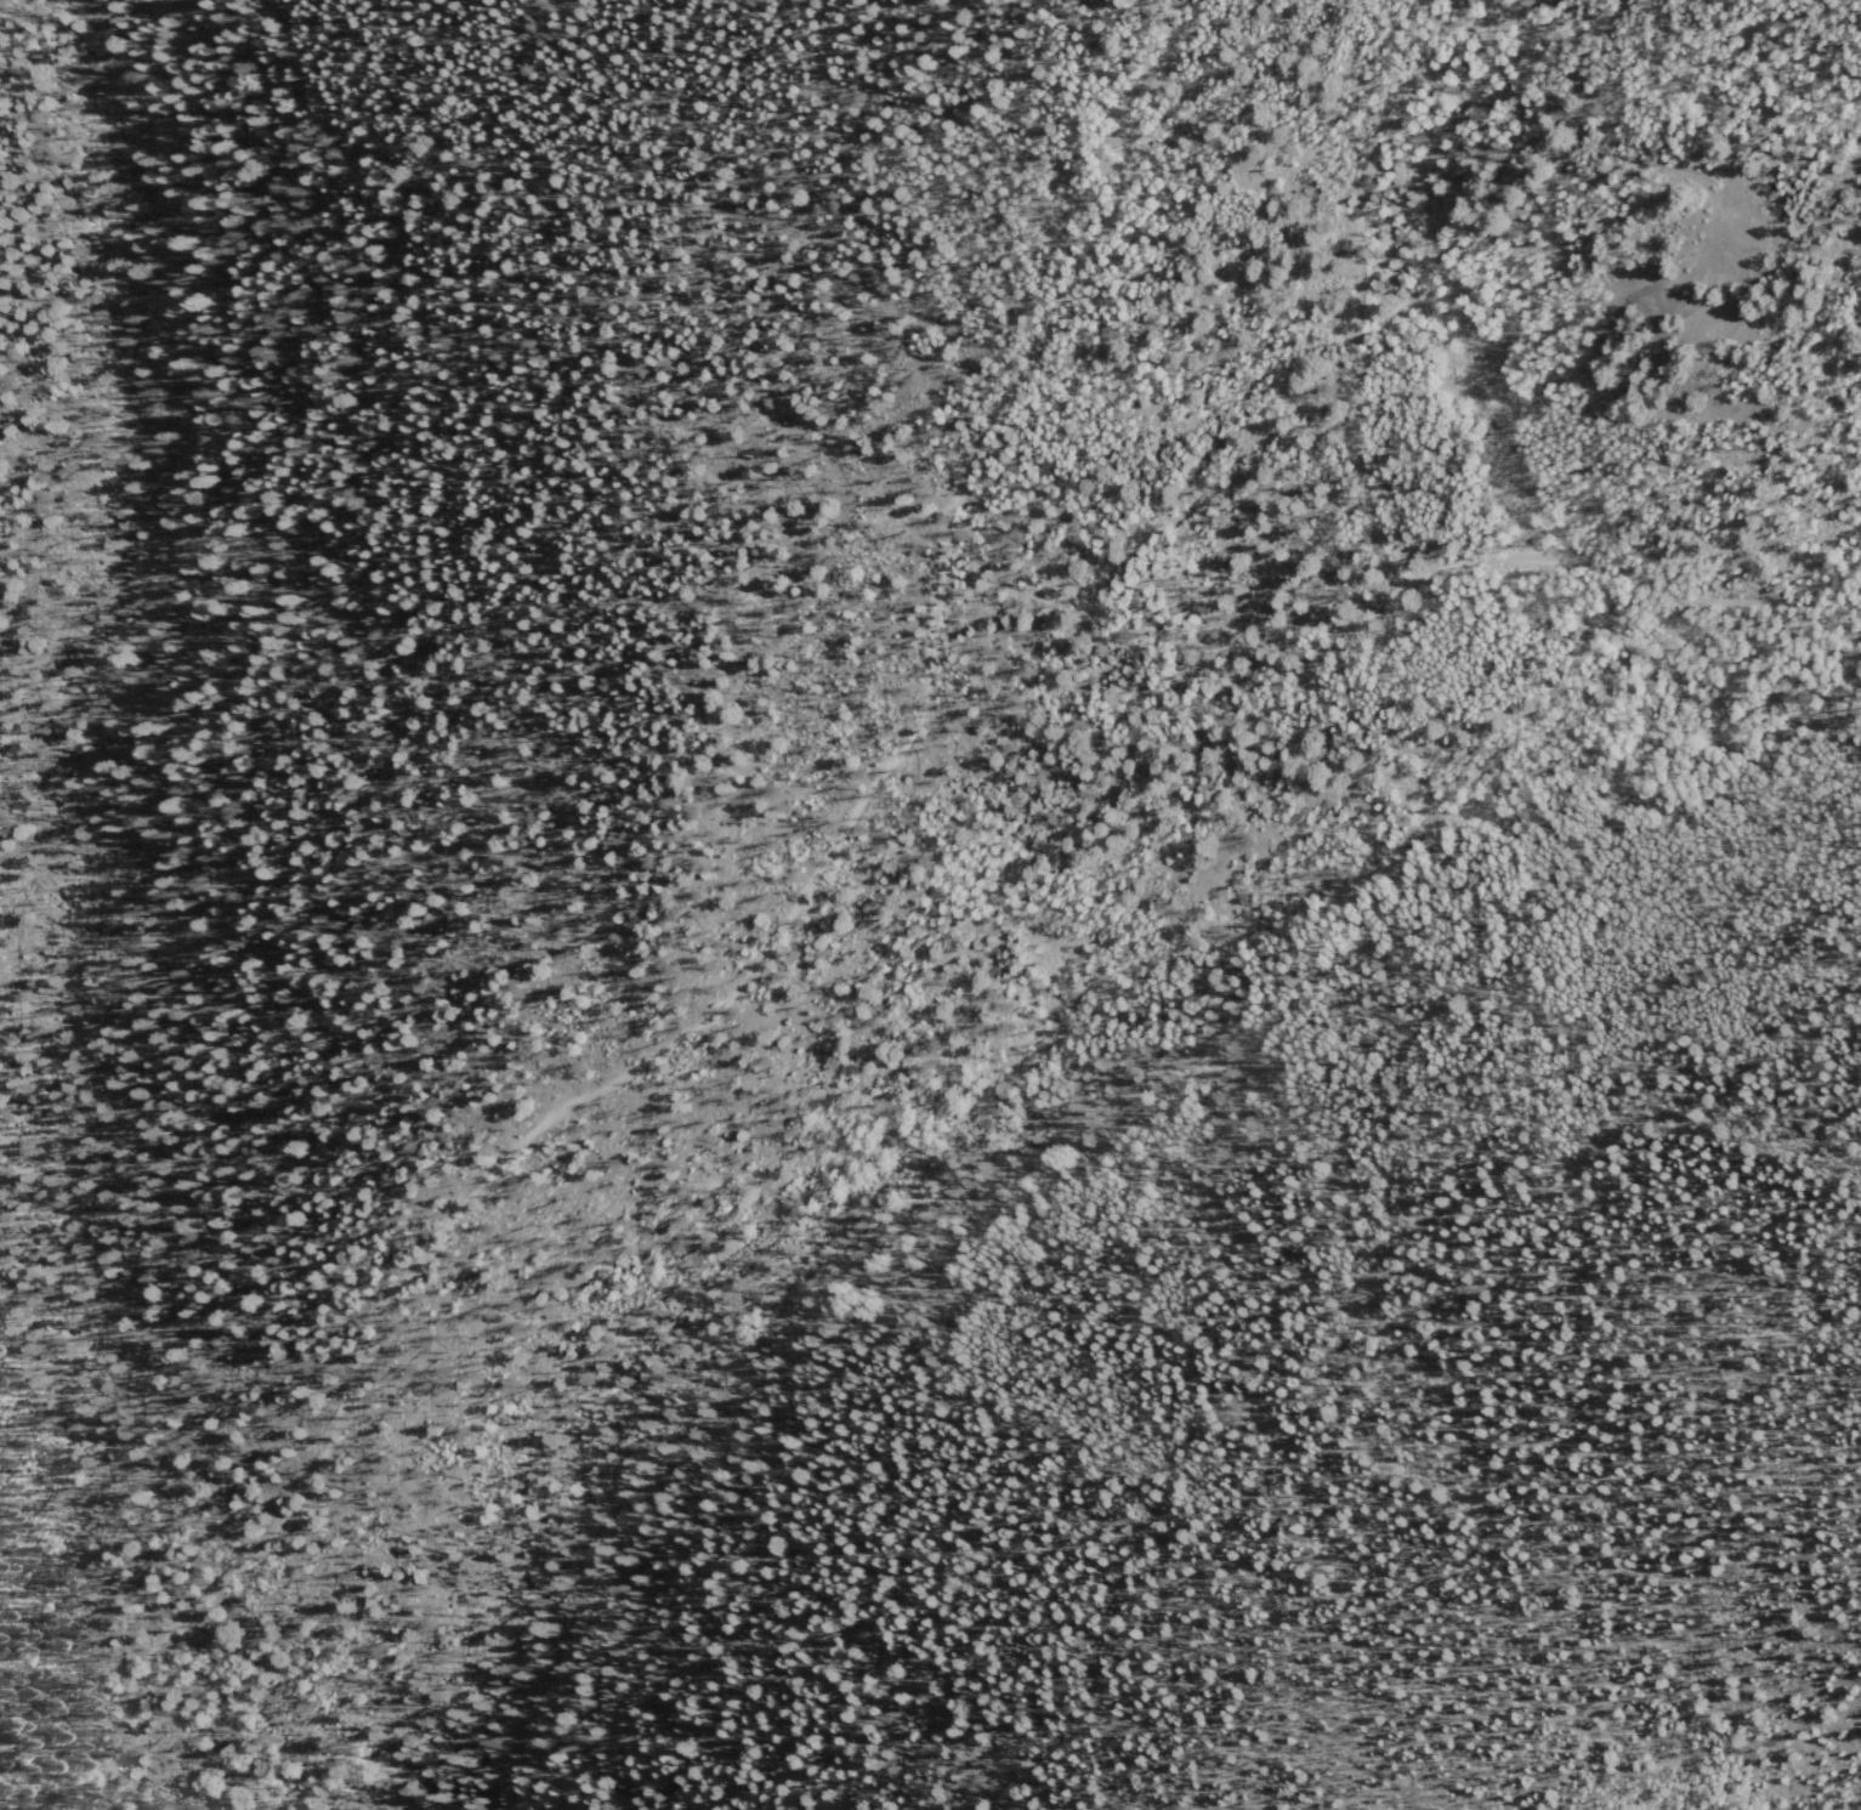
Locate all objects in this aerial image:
road: (1710, 185)
road: (1361, 351)
road: (796, 969)
road: (1147, 1213)

